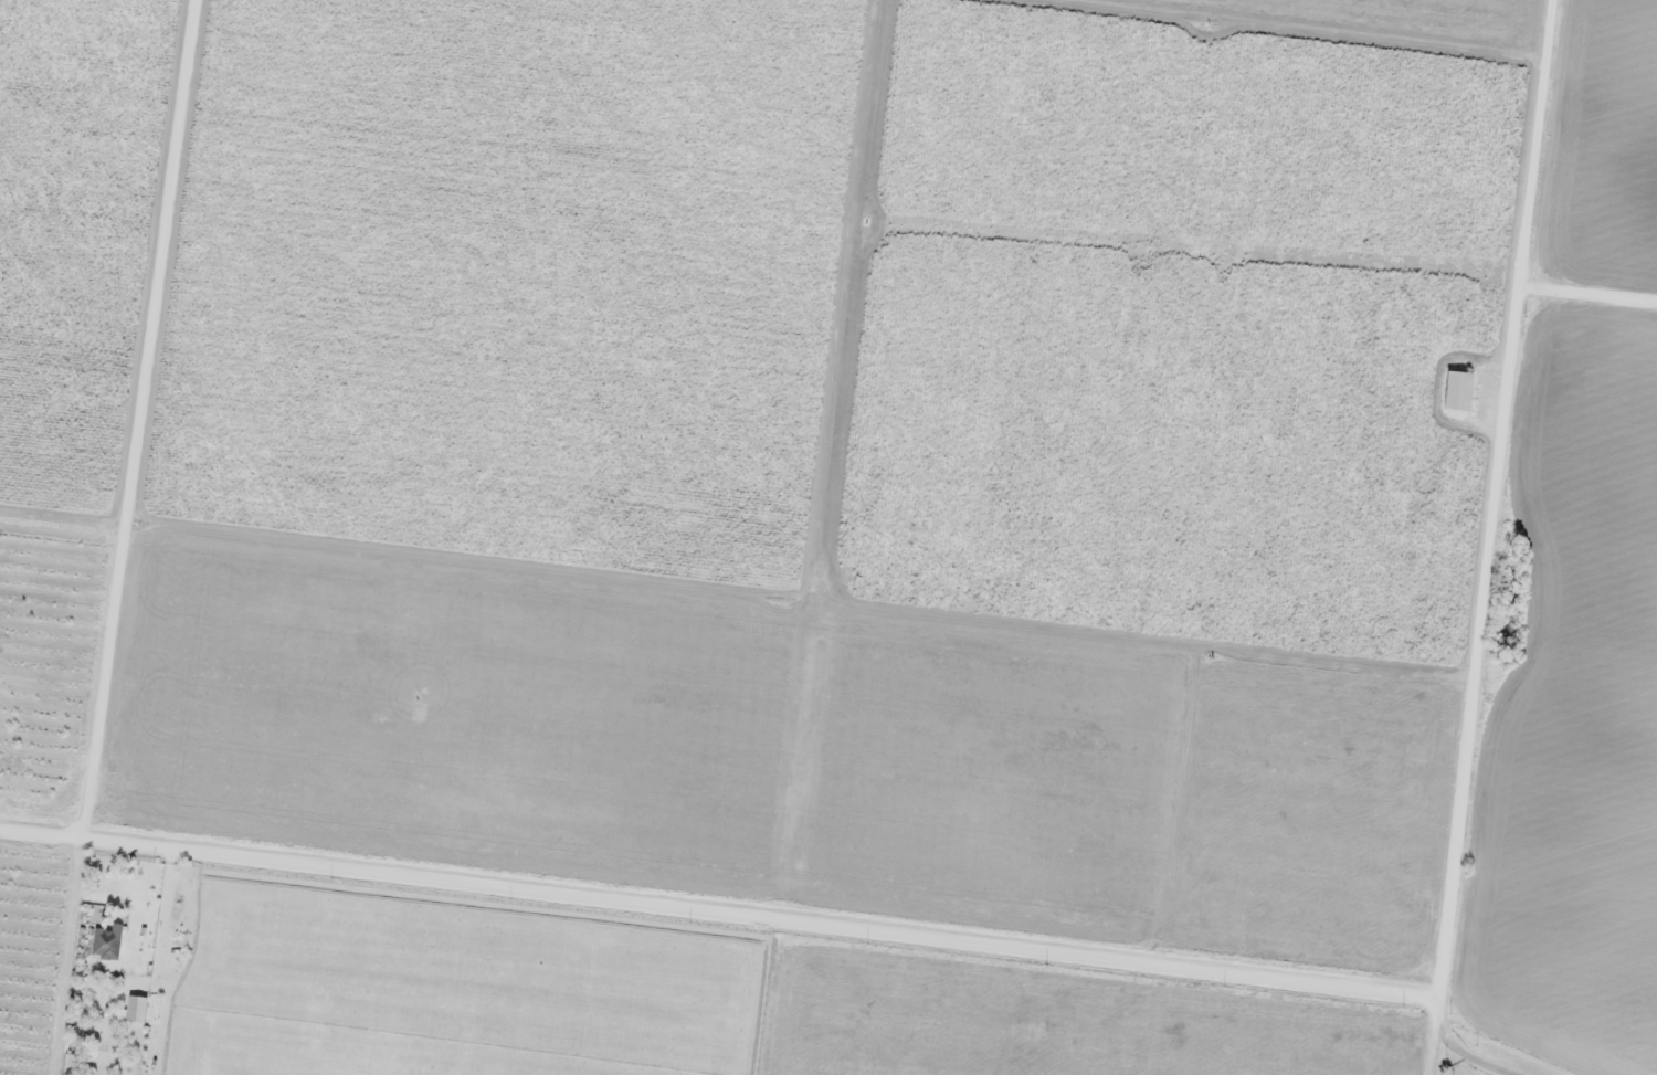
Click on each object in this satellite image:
building: (1458, 390)
road: (1492, 505)
road: (717, 916)
building: (107, 941)
road: (1513, 1043)

